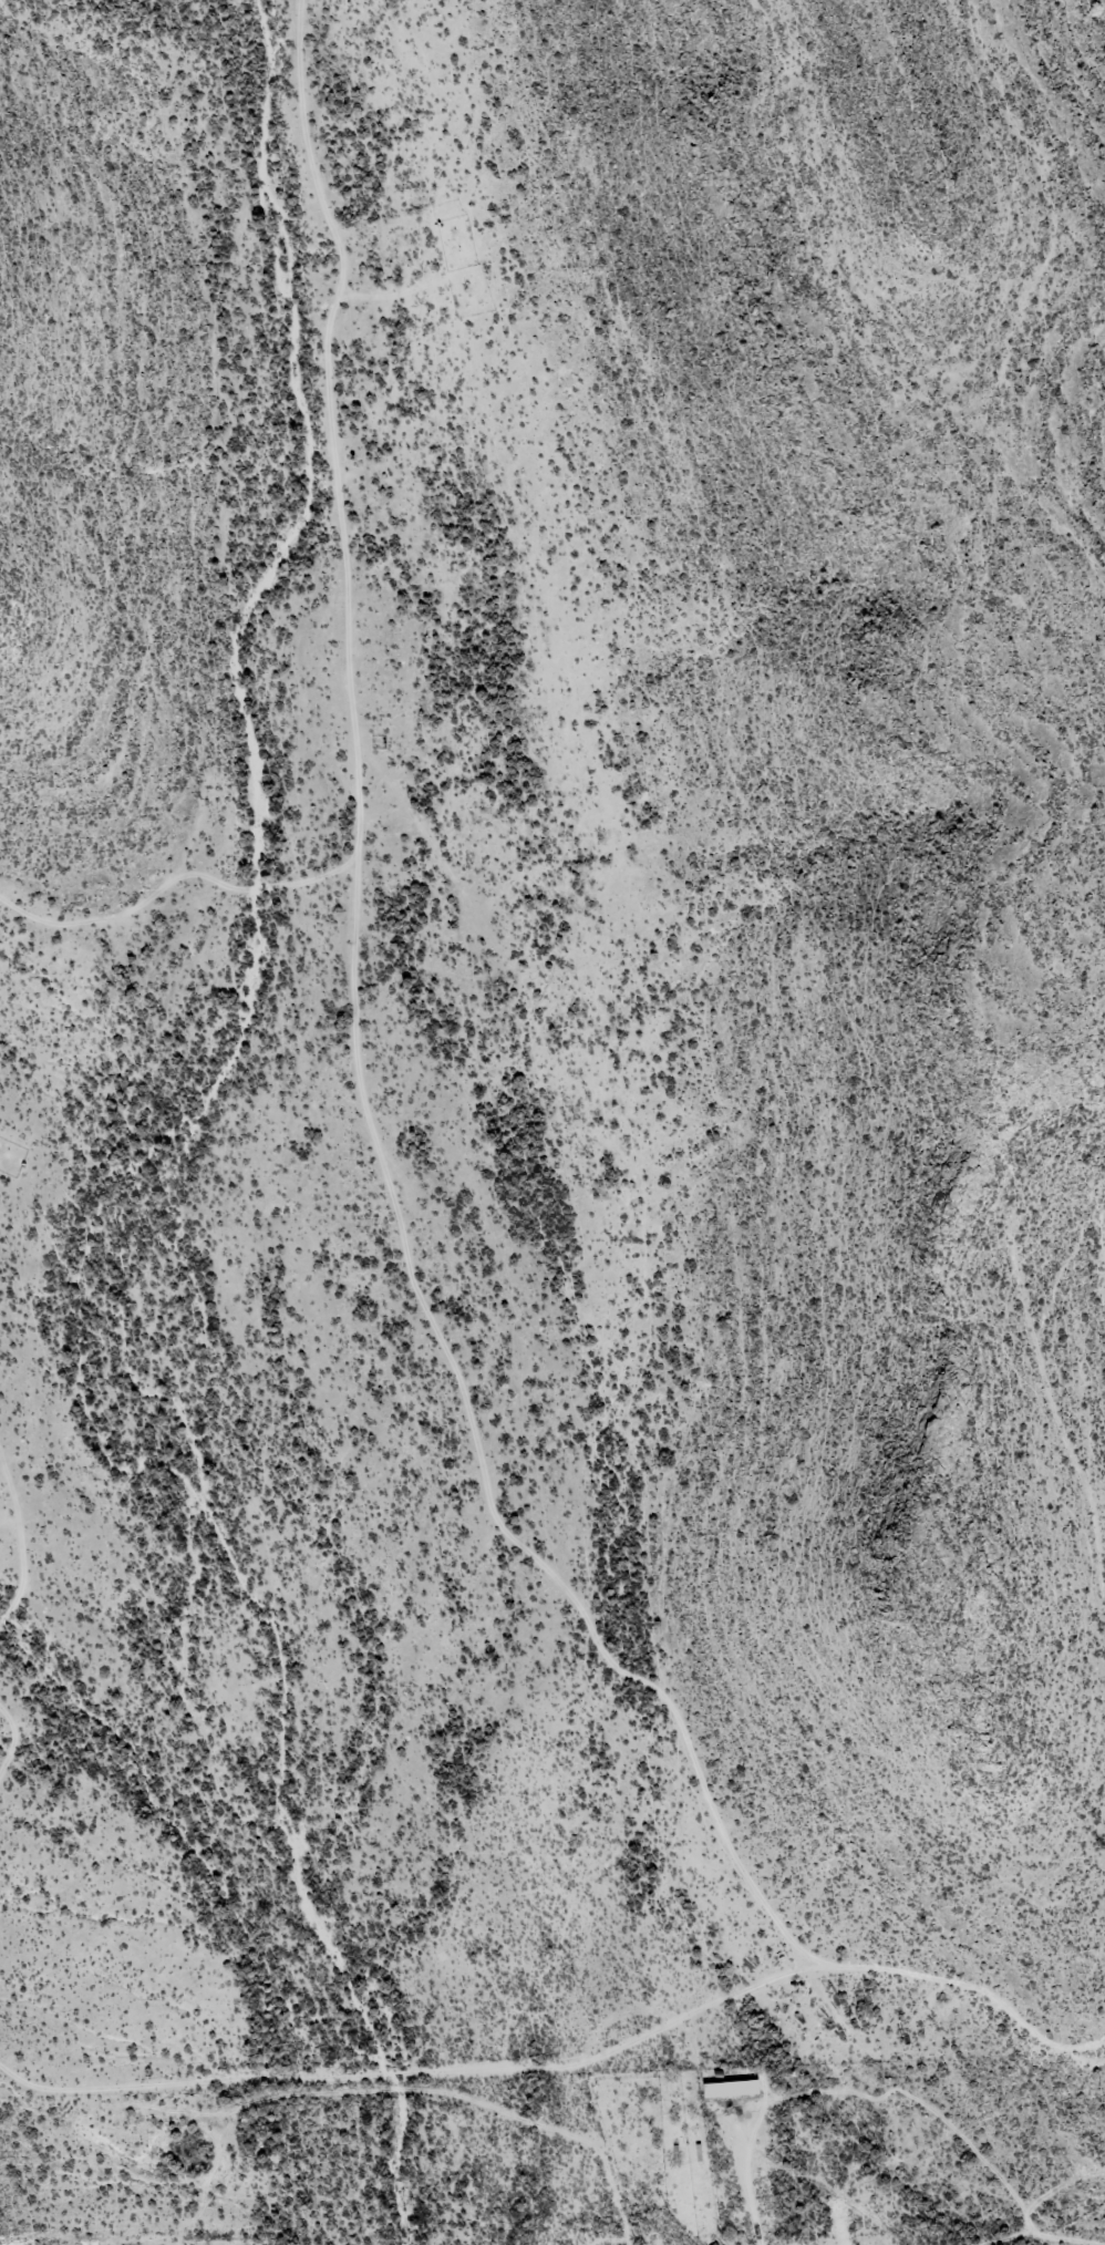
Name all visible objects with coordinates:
building: (727, 2089)

